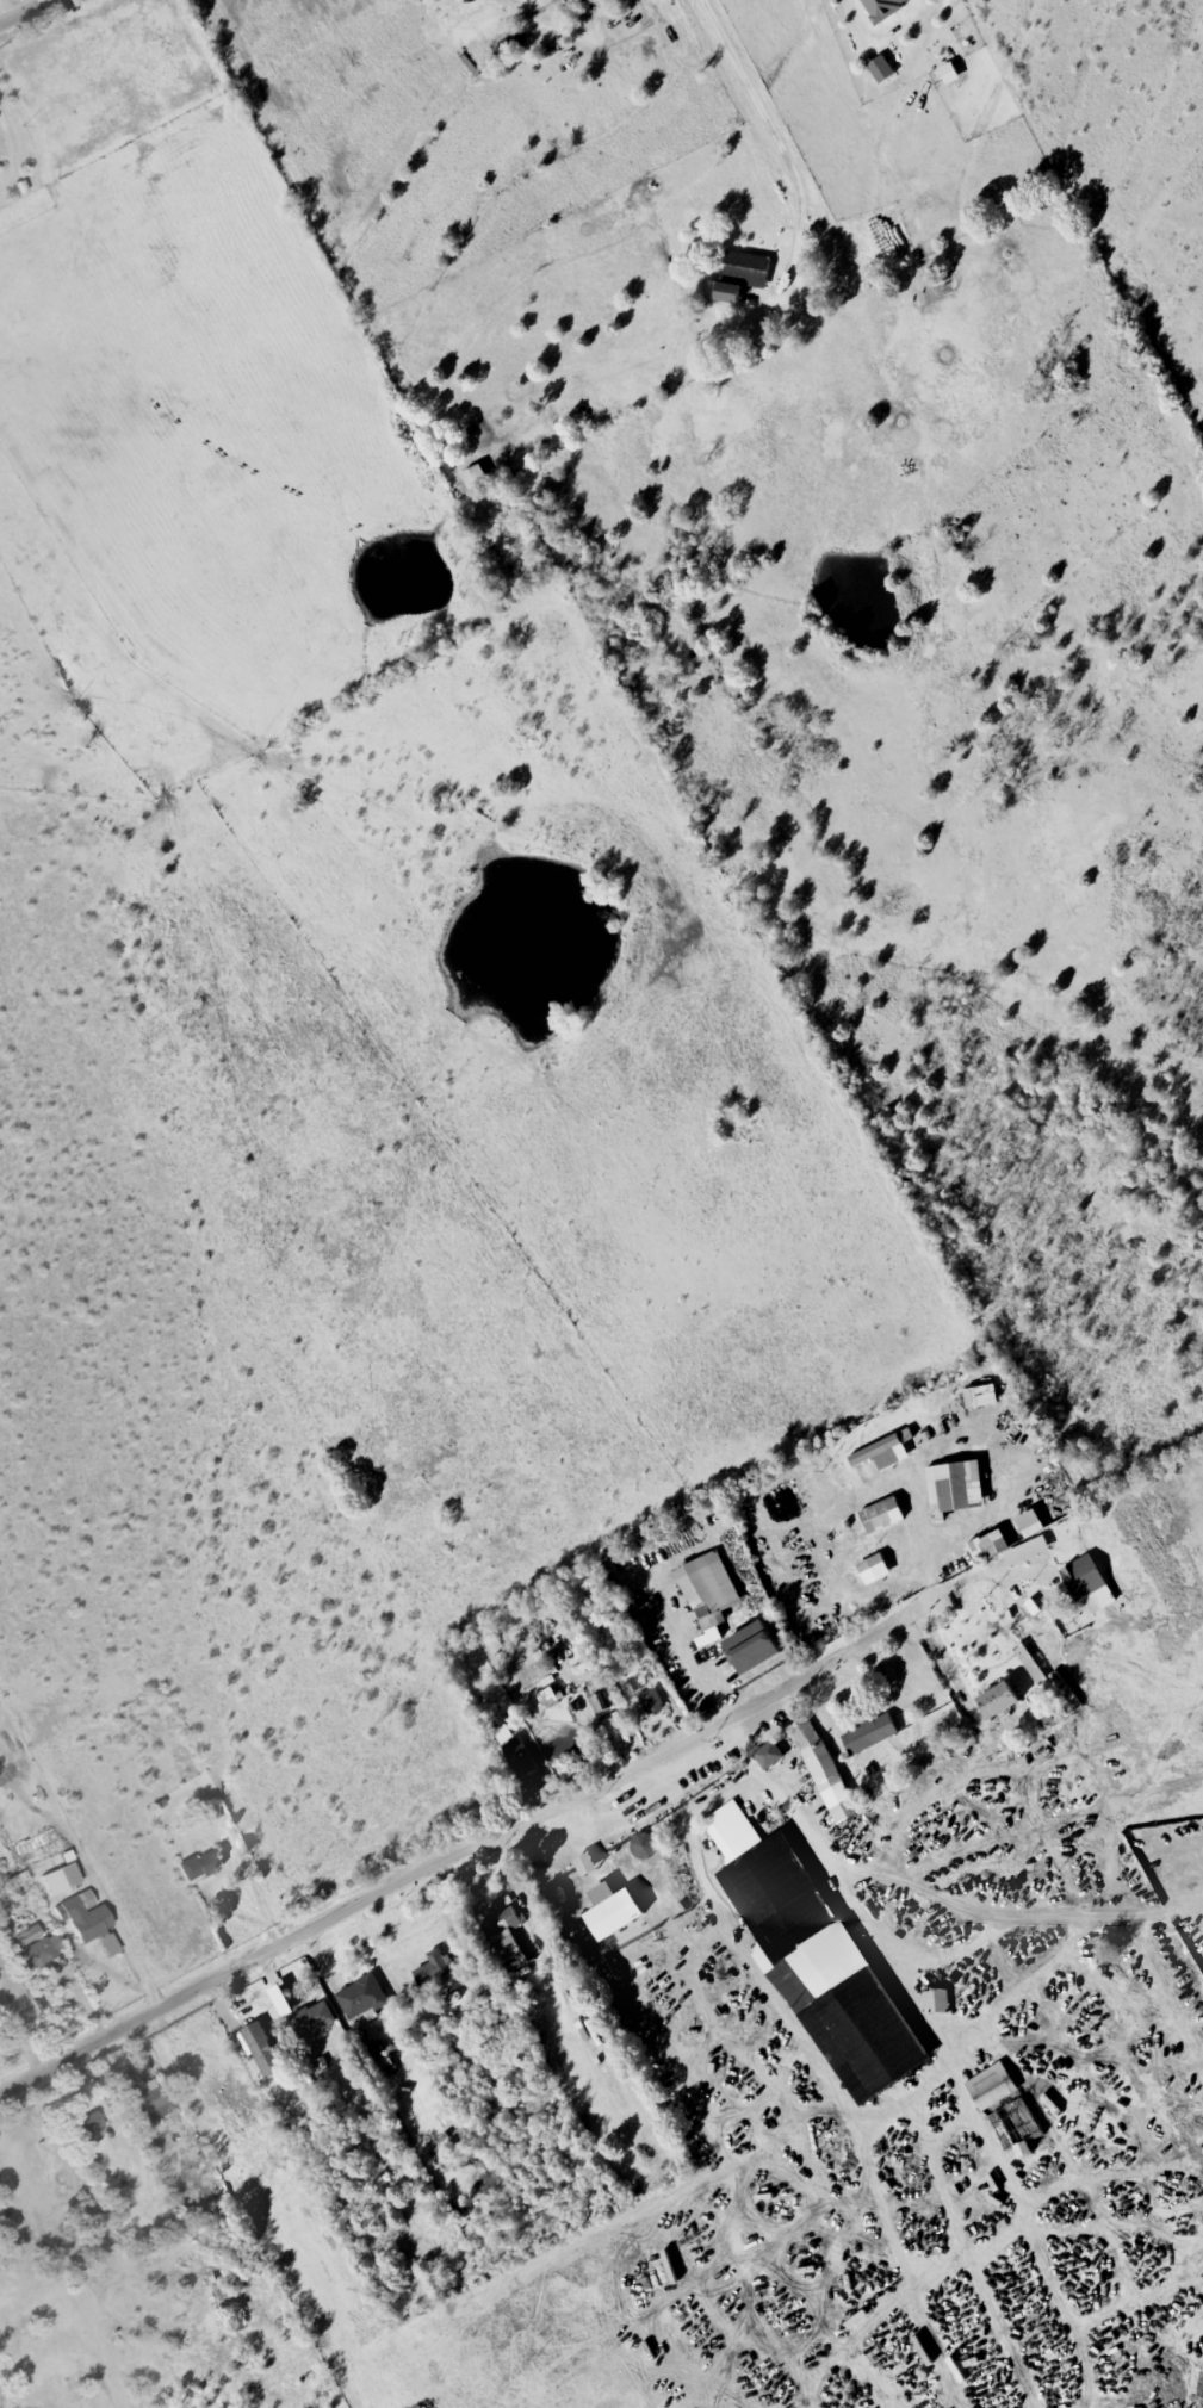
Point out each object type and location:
building: (883, 8)
road: (21, 11)
road: (232, 242)
building: (739, 277)
building: (981, 1397)
building: (881, 1453)
building: (948, 1490)
building: (881, 1516)
building: (1005, 1539)
building: (875, 1569)
building: (1087, 1587)
building: (707, 1595)
building: (752, 1650)
building: (1034, 1663)
building: (649, 1699)
building: (998, 1702)
building: (595, 1706)
building: (868, 1736)
building: (768, 1756)
building: (523, 1764)
building: (823, 1771)
road: (461, 1857)
building: (200, 1866)
building: (553, 1898)
building: (613, 1911)
building: (503, 1922)
building: (91, 1925)
building: (33, 1951)
building: (814, 1959)
building: (432, 1969)
building: (361, 1998)
building: (936, 2000)
building: (312, 2019)
building: (263, 2052)
building: (992, 2091)
building: (149, 2100)
building: (83, 2127)
road: (165, 2241)

